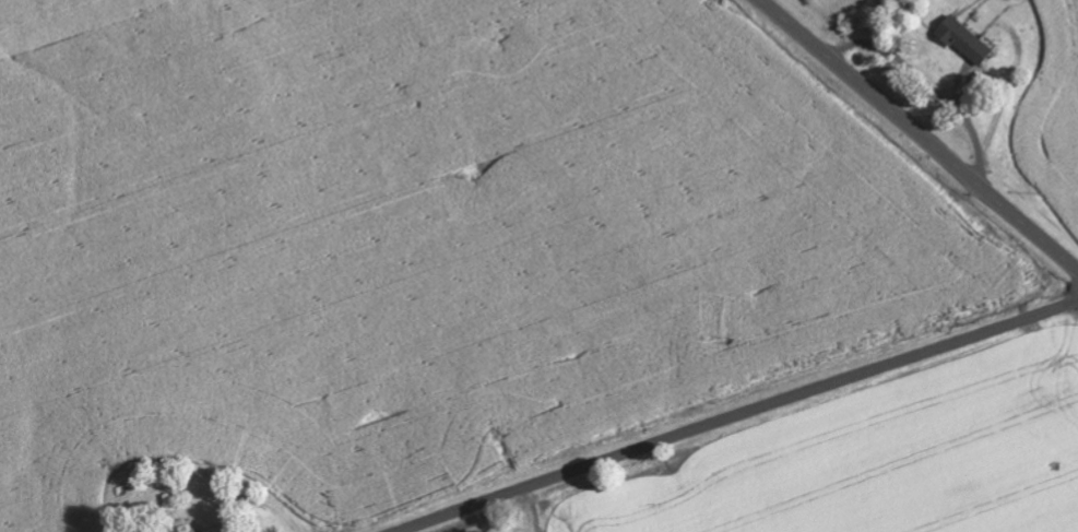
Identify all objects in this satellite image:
building: (966, 42)
road: (920, 134)
road: (736, 415)
building: (187, 529)

